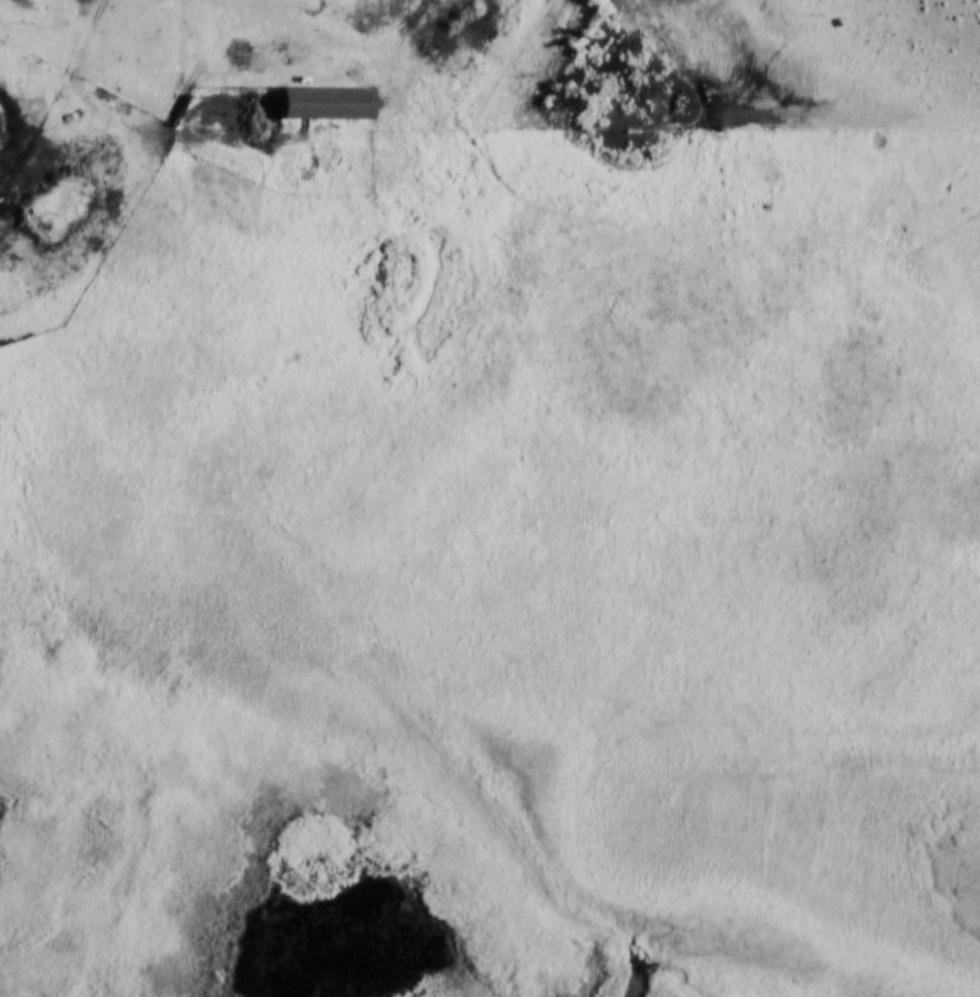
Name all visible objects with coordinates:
building: (322, 104)

